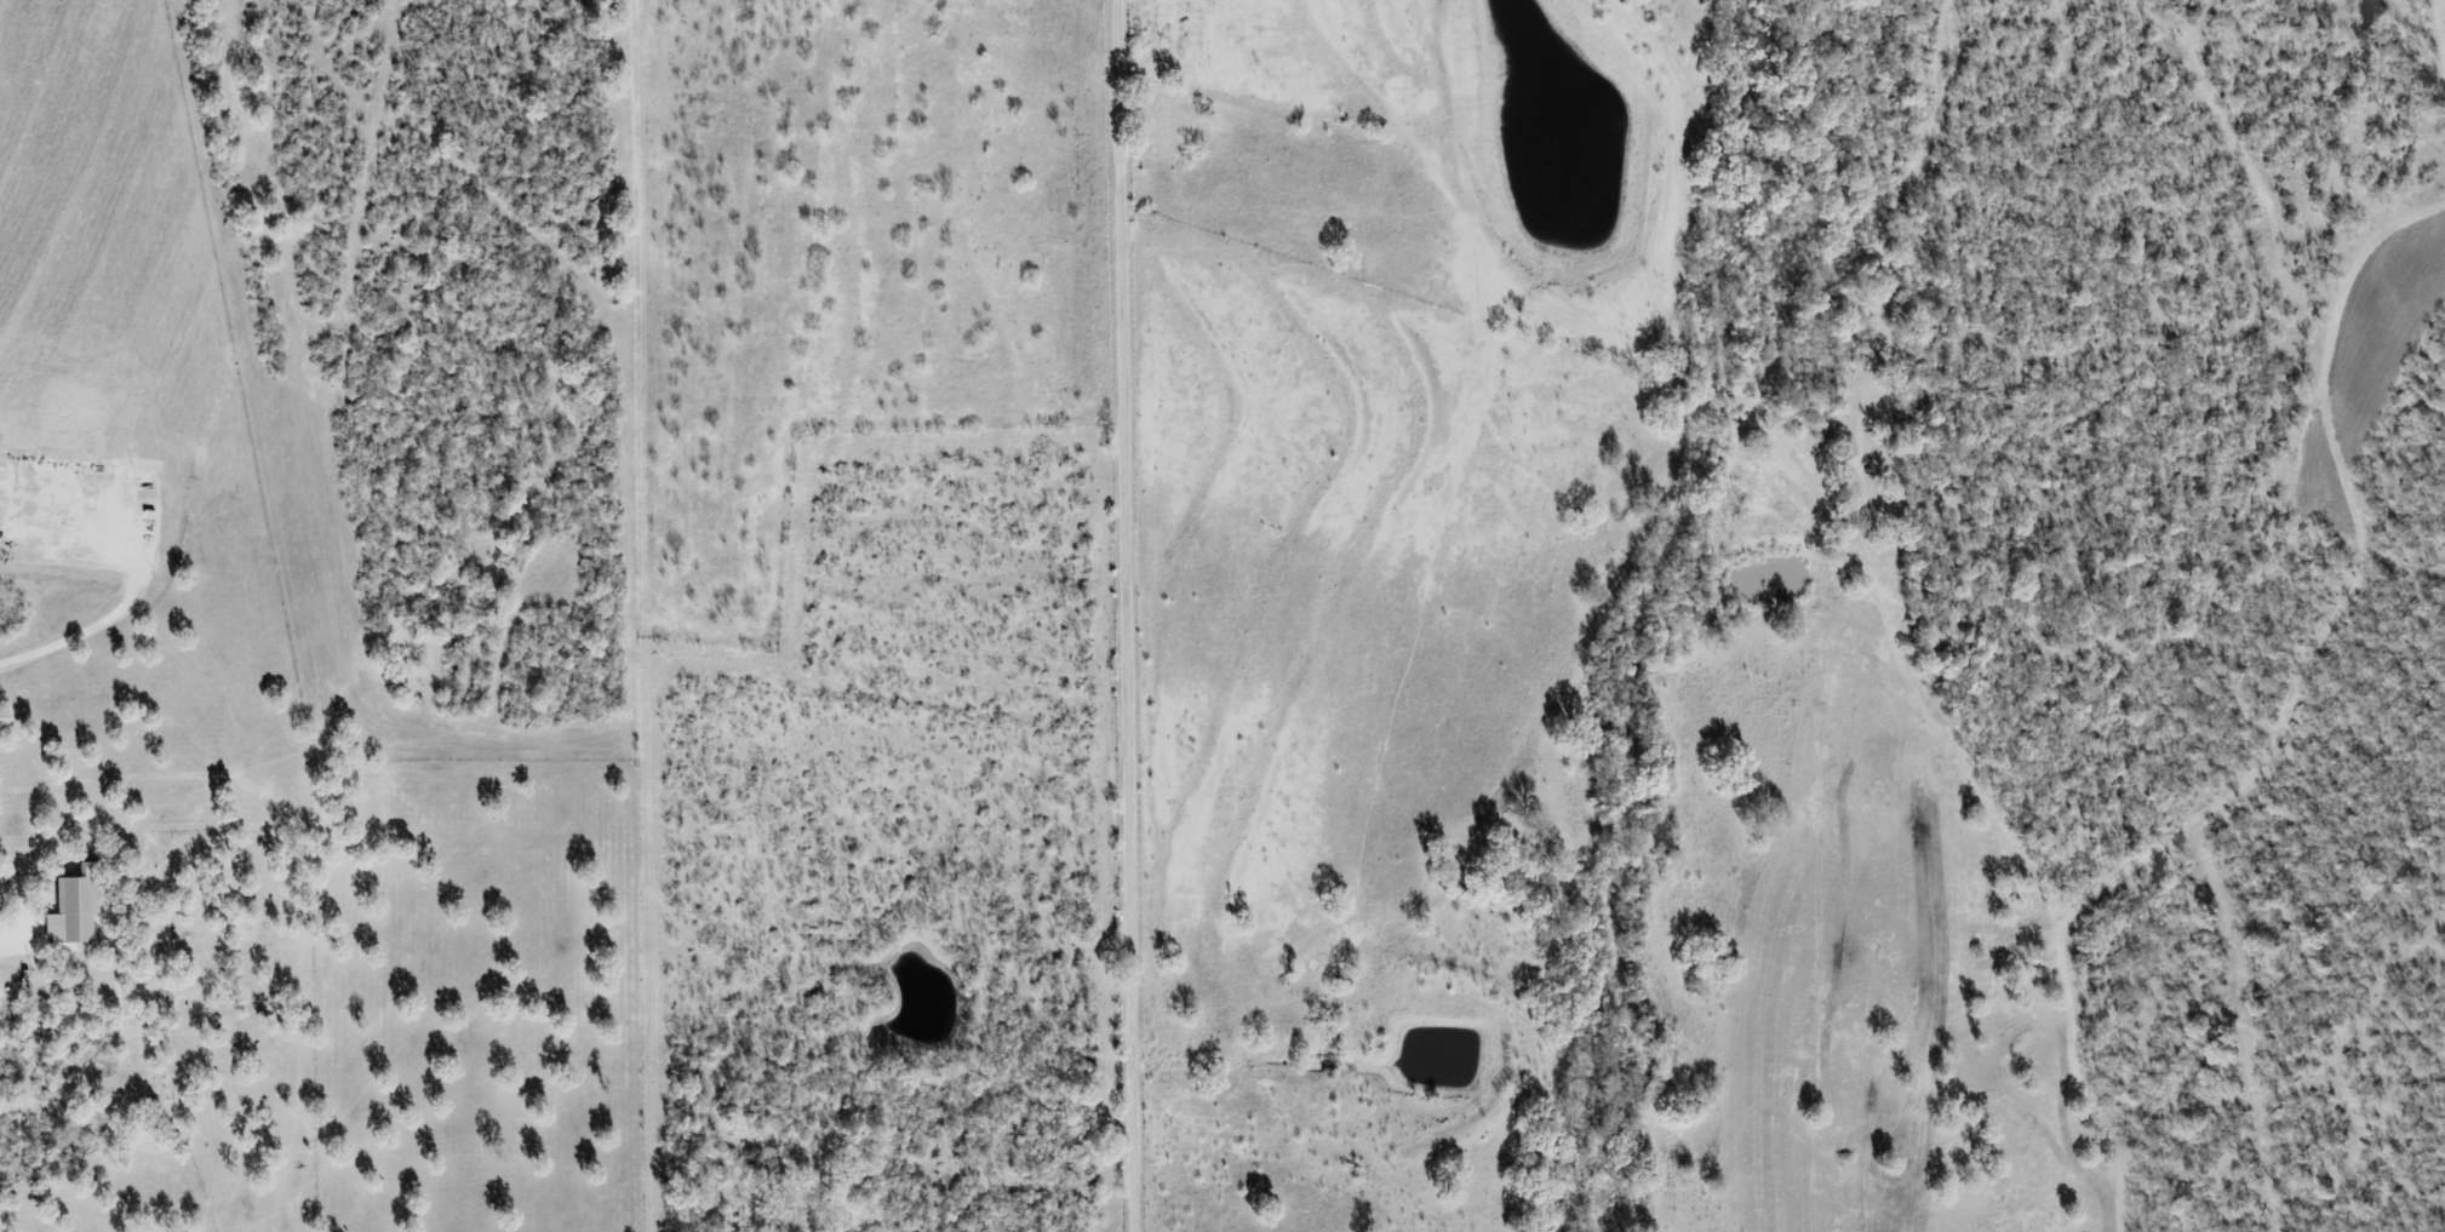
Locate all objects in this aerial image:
road: (1127, 615)
building: (74, 906)
road: (5, 947)

